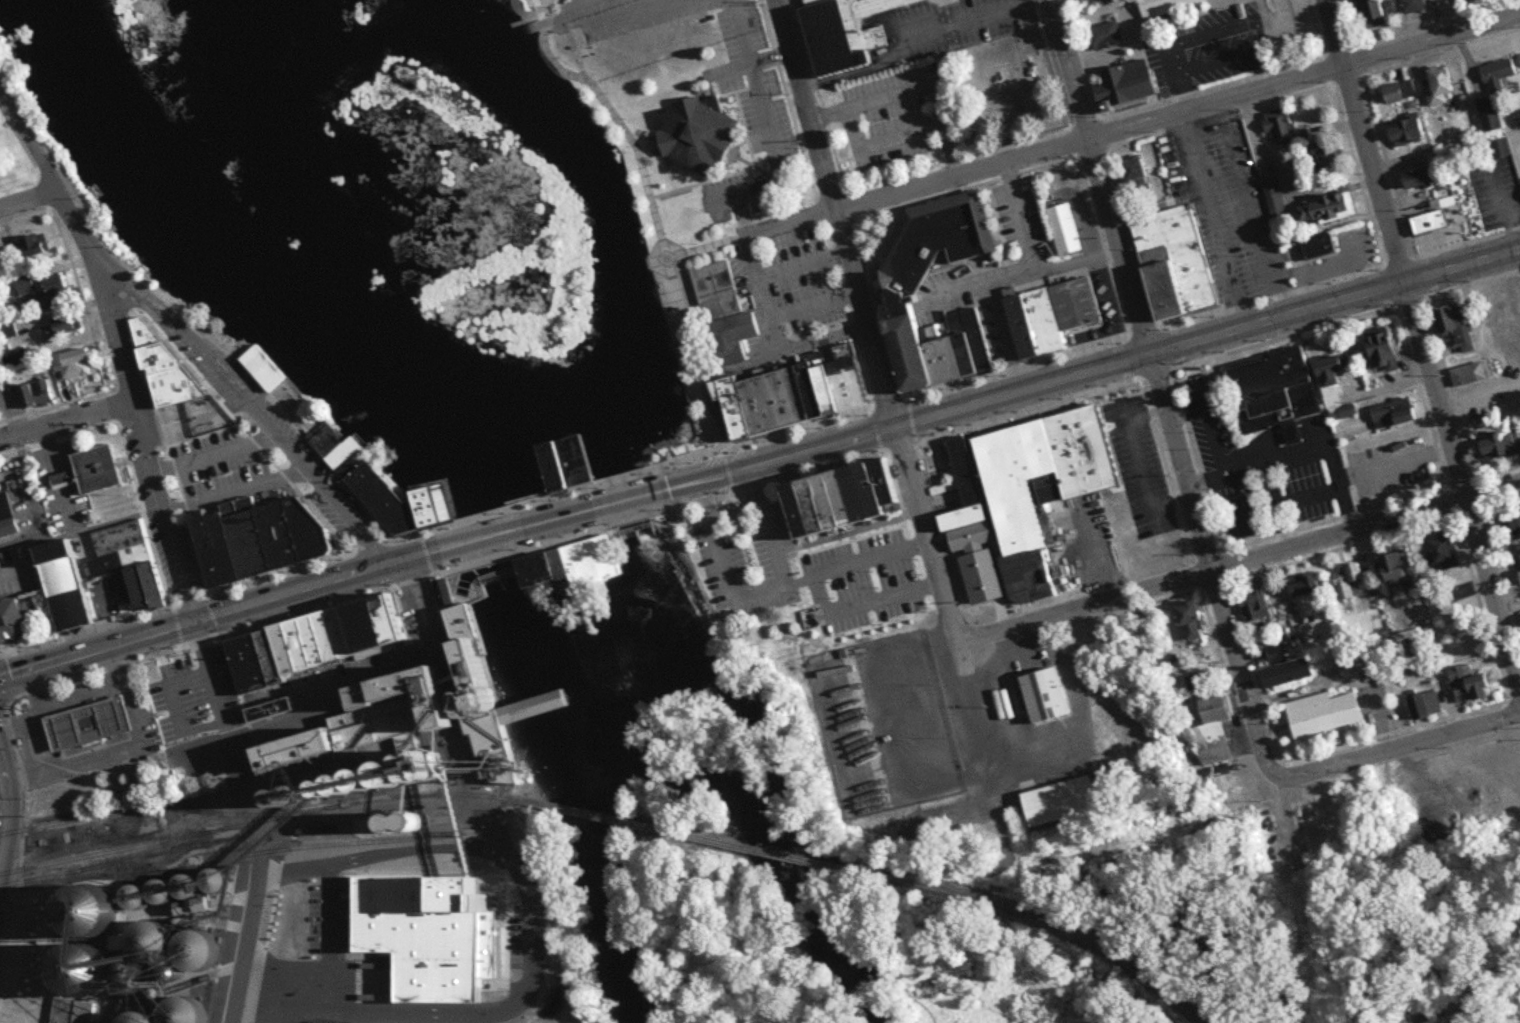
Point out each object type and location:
building: (1090, 1)
building: (1416, 6)
building: (1167, 7)
road: (582, 12)
building: (1371, 13)
parking lot: (642, 16)
road: (959, 18)
building: (847, 30)
parking lot: (738, 31)
building: (1107, 36)
road: (1176, 43)
road: (750, 65)
building: (1499, 71)
building: (1128, 85)
building: (1441, 86)
road: (914, 89)
building: (1402, 92)
road: (721, 95)
road: (606, 111)
building: (1491, 114)
parking lot: (761, 116)
road: (1126, 127)
building: (1283, 127)
building: (690, 132)
building: (1410, 132)
road: (1364, 140)
road: (768, 148)
building: (1497, 149)
road: (720, 150)
flagpole: (734, 159)
building: (1325, 161)
road: (735, 172)
road: (1100, 177)
building: (1422, 178)
building: (1140, 181)
road: (779, 184)
building: (1273, 192)
road: (30, 198)
parking lot: (740, 198)
building: (1327, 209)
road: (1246, 211)
road: (832, 213)
road: (762, 214)
road: (1018, 218)
road: (1209, 221)
building: (1432, 222)
building: (1066, 231)
road: (84, 235)
building: (929, 238)
road: (706, 248)
building: (30, 249)
building: (1320, 249)
road: (667, 250)
building: (1177, 265)
building: (658, 266)
road: (773, 273)
building: (885, 281)
road: (1002, 282)
parking lot: (785, 284)
road: (839, 287)
building: (710, 290)
building: (44, 293)
road: (787, 314)
building: (1055, 317)
building: (59, 328)
building: (1510, 328)
building: (1456, 329)
building: (726, 334)
road: (765, 338)
building: (902, 340)
road: (812, 342)
building: (1386, 353)
building: (16, 357)
road: (672, 359)
building: (75, 364)
road: (1109, 366)
road: (719, 367)
building: (164, 372)
building: (1469, 376)
building: (1335, 389)
building: (1275, 390)
building: (31, 392)
building: (799, 395)
road: (248, 407)
building: (1395, 414)
road: (67, 420)
river: (462, 433)
building: (1502, 447)
building: (346, 452)
road: (128, 453)
road: (213, 455)
parking lot: (218, 459)
road: (1134, 463)
parking lot: (668, 474)
building: (94, 475)
road: (775, 478)
road: (1462, 485)
road: (669, 486)
building: (1047, 496)
road: (620, 500)
building: (846, 500)
building: (391, 503)
building: (968, 505)
road: (165, 512)
building: (8, 516)
road: (553, 518)
building: (1514, 526)
parking lot: (553, 527)
building: (254, 529)
road: (844, 535)
road: (485, 536)
road: (767, 536)
road: (716, 552)
dam: (570, 555)
building: (1446, 555)
parking lot: (717, 559)
building: (1519, 559)
building: (129, 560)
building: (846, 562)
road: (1236, 563)
building: (571, 564)
parking lot: (856, 565)
road: (1084, 567)
road: (13, 569)
building: (1399, 571)
building: (1351, 583)
road: (1217, 584)
building: (67, 586)
building: (445, 586)
road: (814, 591)
building: (1307, 595)
building: (1257, 604)
road: (941, 606)
road: (174, 607)
road: (424, 611)
road: (231, 613)
building: (14, 621)
building: (1194, 621)
road: (86, 631)
building: (316, 644)
building: (1278, 652)
building: (1292, 673)
road: (170, 683)
building: (1470, 686)
road: (38, 694)
river: (637, 694)
building: (1048, 696)
road: (80, 703)
building: (1428, 706)
building: (430, 711)
building: (1326, 714)
building: (91, 722)
building: (1216, 738)
road: (1416, 741)
road: (134, 749)
road: (37, 759)
road: (243, 768)
railway: (296, 770)
railway: (216, 797)
building: (1063, 802)
road: (6, 810)
road: (844, 813)
railway: (222, 815)
railway: (252, 823)
railway: (701, 839)
railway: (98, 865)
railway: (143, 874)
building: (381, 911)
railway: (1062, 927)
building: (159, 945)
road: (241, 970)
road: (365, 1008)
building: (72, 1011)
building: (157, 1020)

